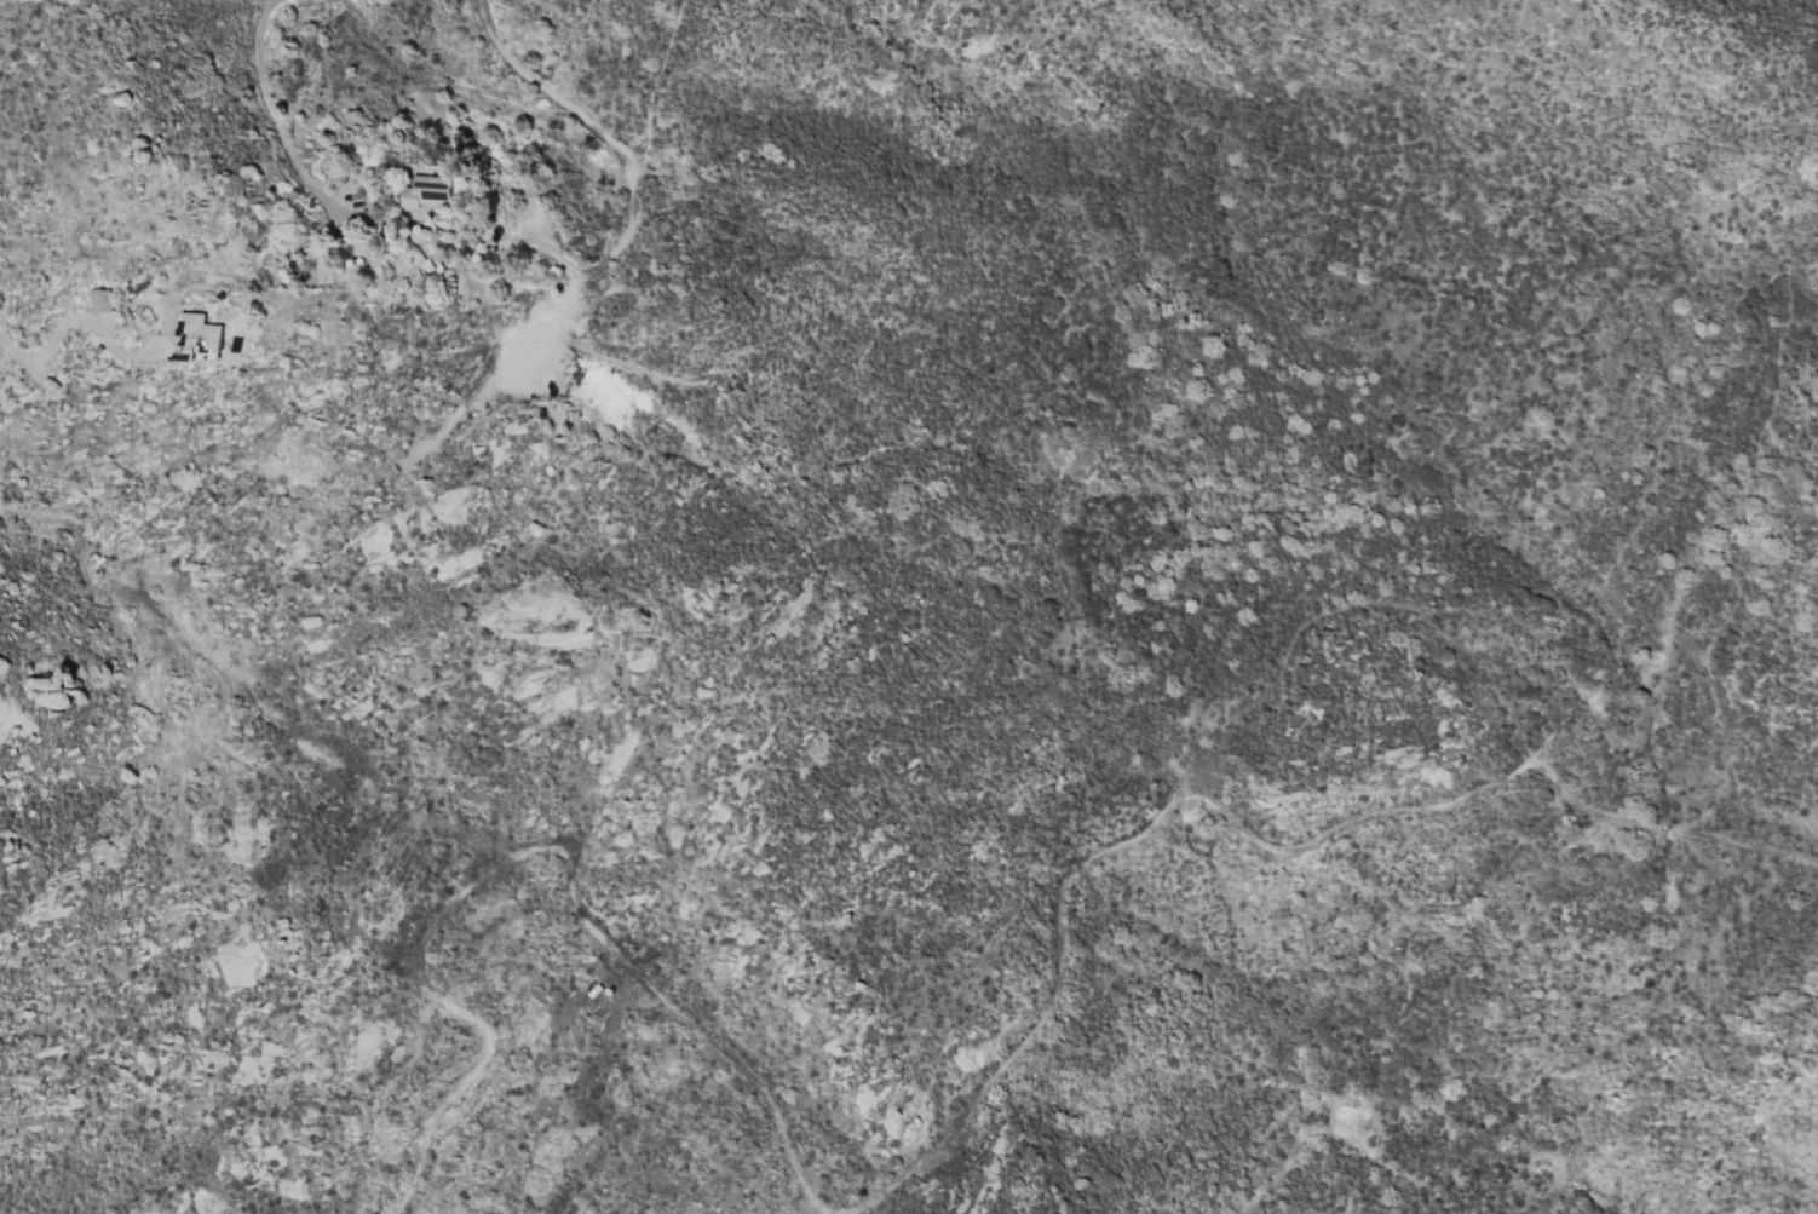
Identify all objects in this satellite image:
road: (270, 104)
road: (617, 145)
building: (426, 191)
building: (420, 232)
building: (99, 300)
road: (75, 320)
building: (196, 339)

